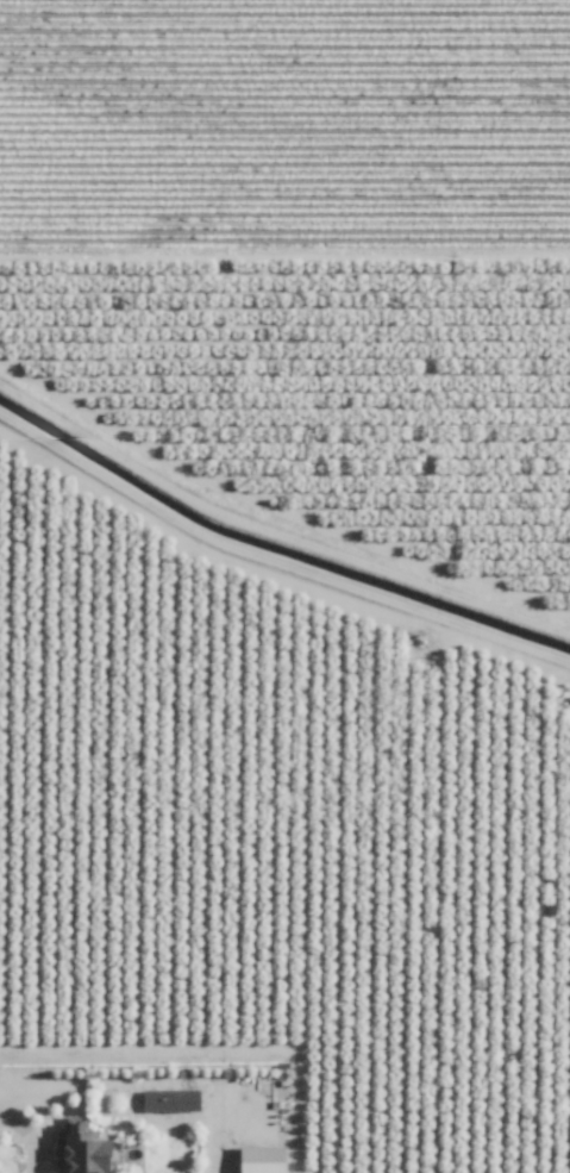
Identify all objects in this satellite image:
building: (82, 1150)
building: (264, 1159)

